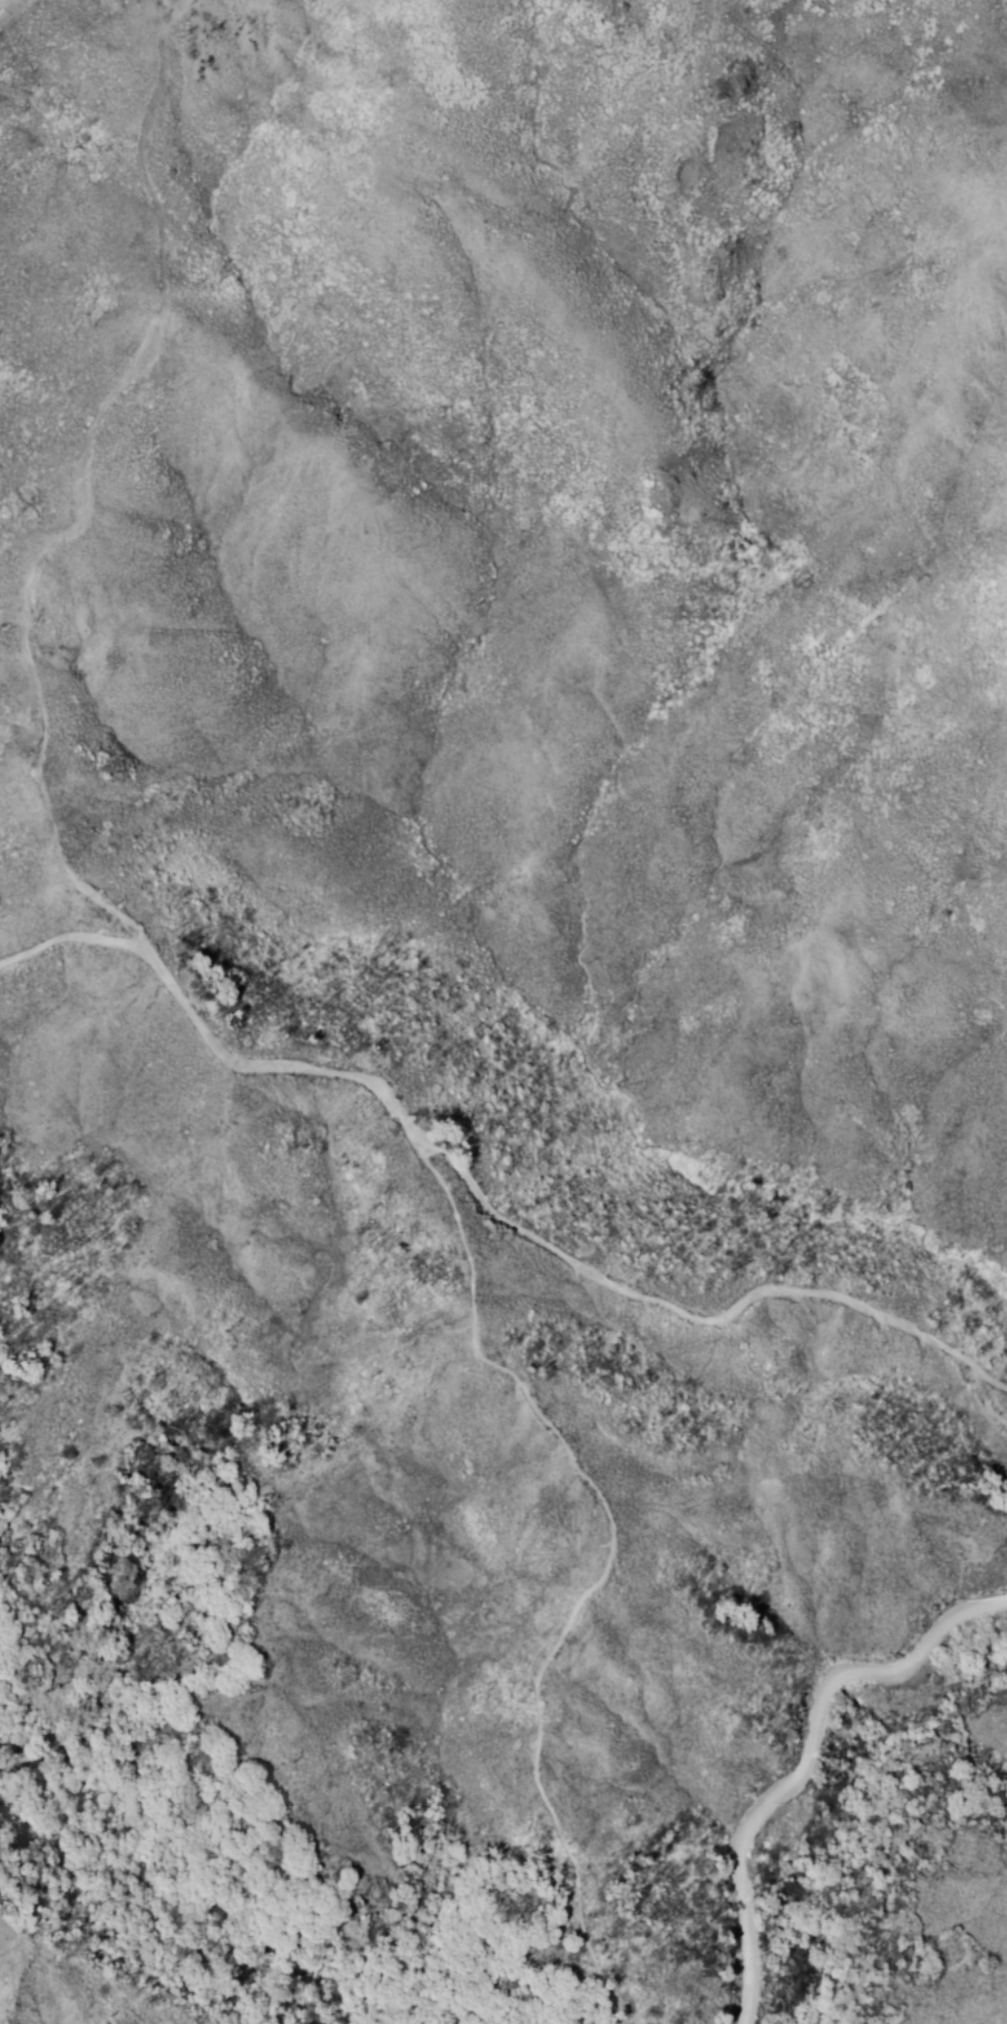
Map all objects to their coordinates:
road: (89, 491)
road: (12, 622)
road: (481, 1200)
road: (606, 1563)
road: (799, 1759)
road: (104, 1936)
road: (522, 2014)

